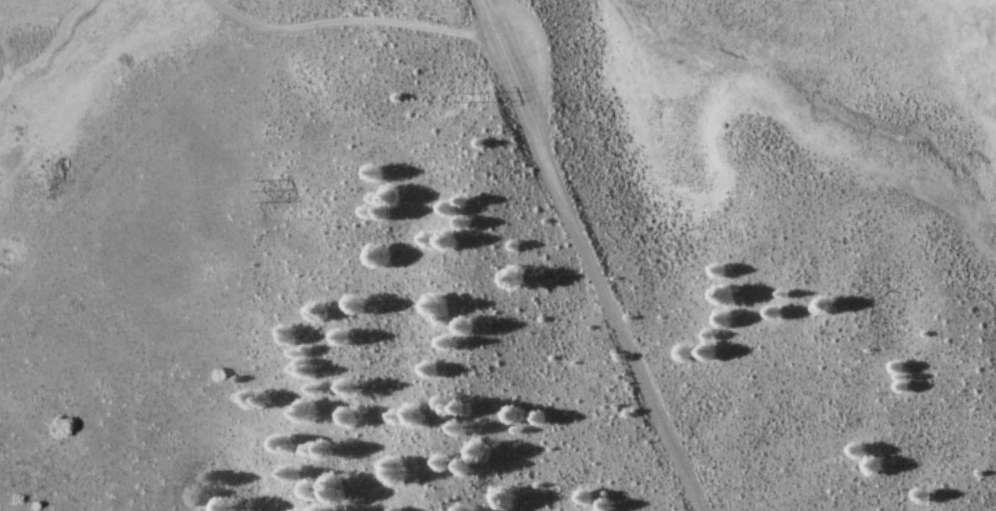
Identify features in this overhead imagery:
road: (227, 13)
road: (368, 19)
power tower: (474, 93)
road: (123, 165)
power tower: (239, 189)
road: (585, 256)

